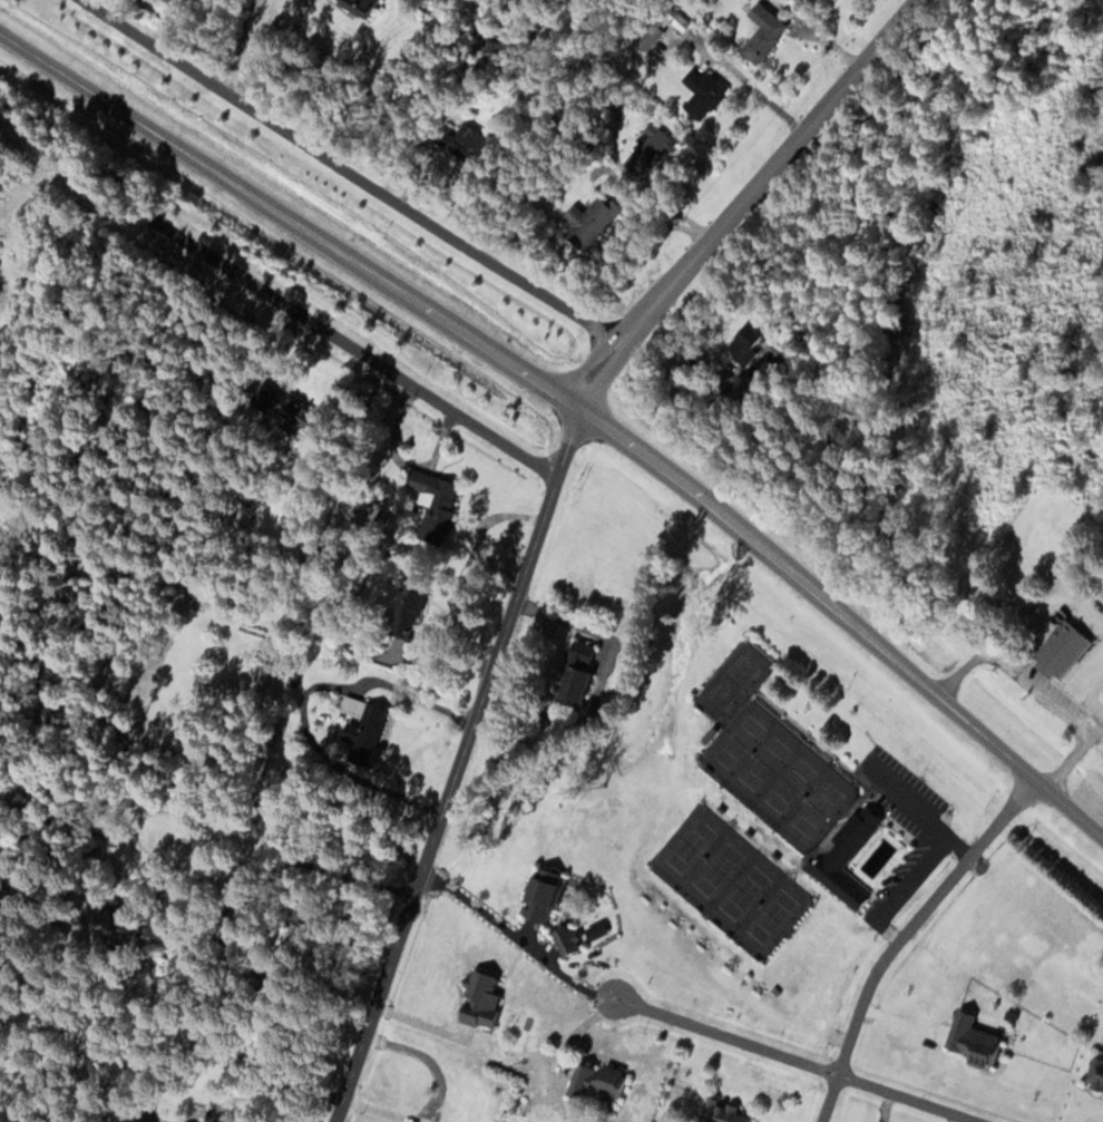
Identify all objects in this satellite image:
building: (355, 6)
building: (760, 32)
building: (645, 36)
building: (700, 92)
building: (455, 138)
building: (653, 140)
road: (348, 169)
building: (586, 222)
building: (740, 343)
road: (351, 347)
road: (572, 406)
building: (293, 411)
building: (431, 504)
building: (240, 511)
road: (543, 514)
building: (404, 609)
building: (1058, 650)
building: (261, 673)
building: (573, 675)
building: (359, 729)
building: (842, 857)
building: (540, 895)
building: (105, 924)
building: (563, 937)
road: (904, 937)
building: (476, 998)
road: (722, 1033)
building: (968, 1038)
building: (1094, 1072)
building: (596, 1082)
road: (904, 1099)
building: (718, 1111)

